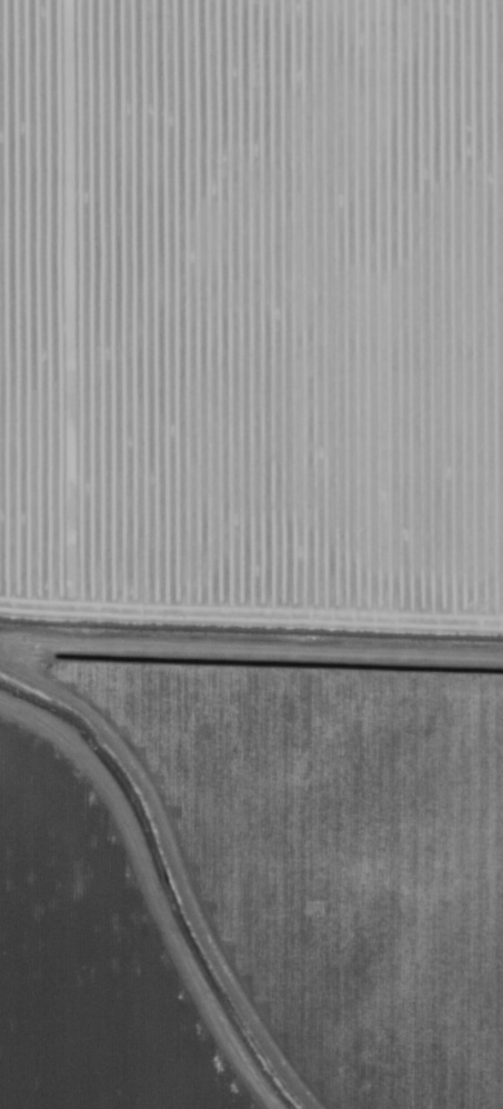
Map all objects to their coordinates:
crop: (278, 478)
crop: (169, 882)
crop: (89, 958)

